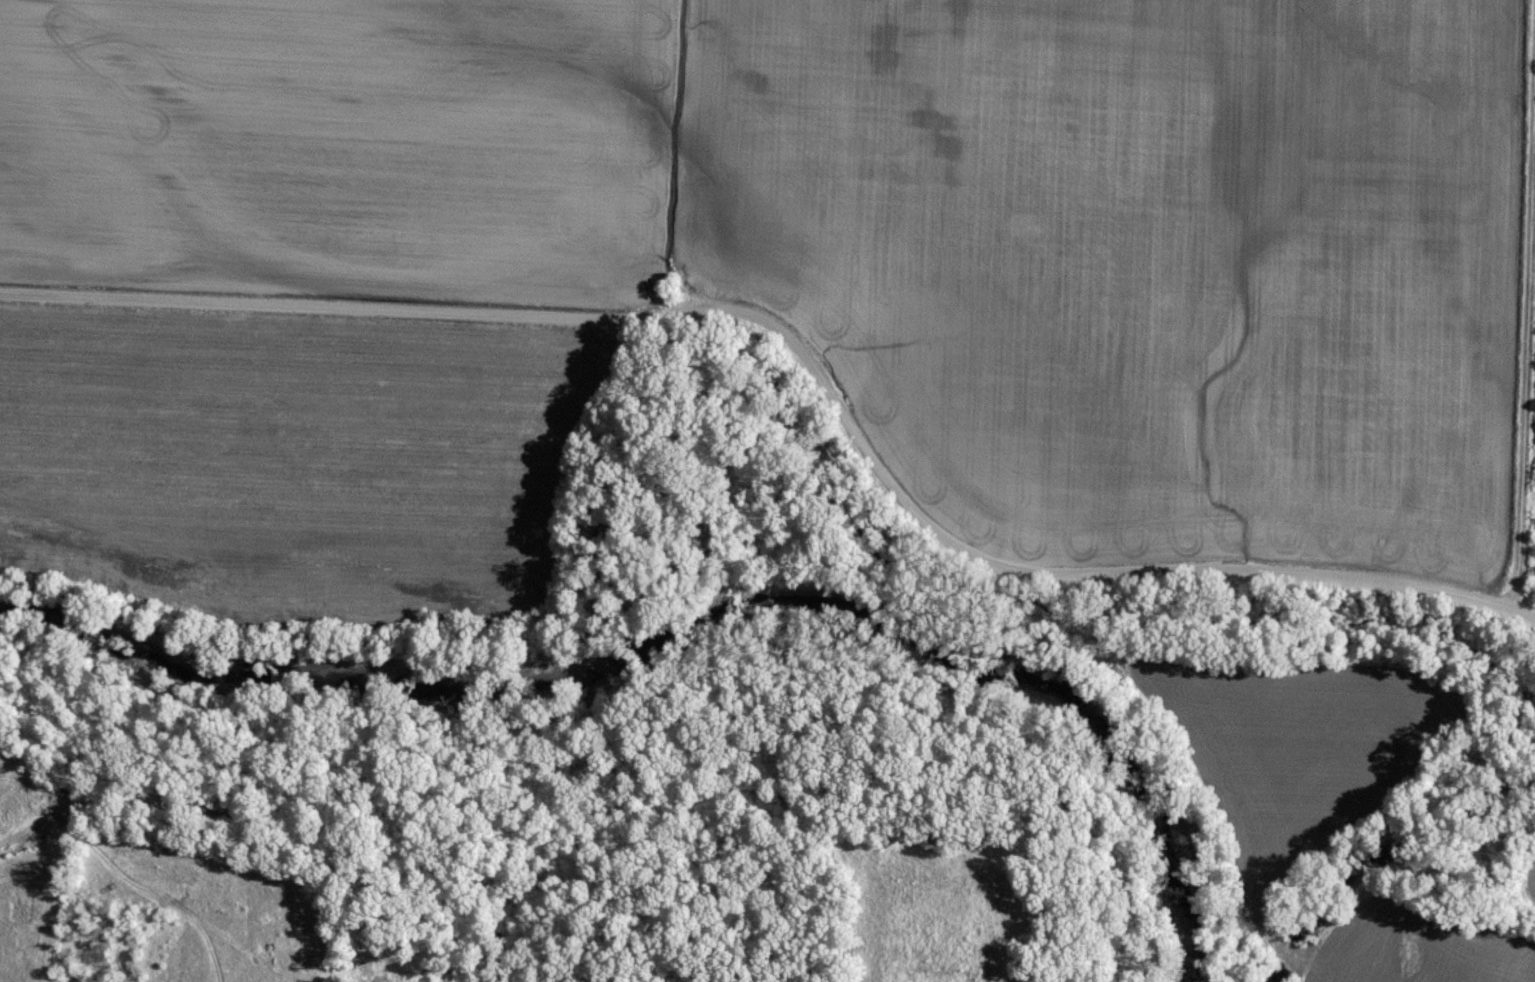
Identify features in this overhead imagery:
road: (1507, 304)
road: (809, 360)
road: (74, 801)
building: (217, 816)

